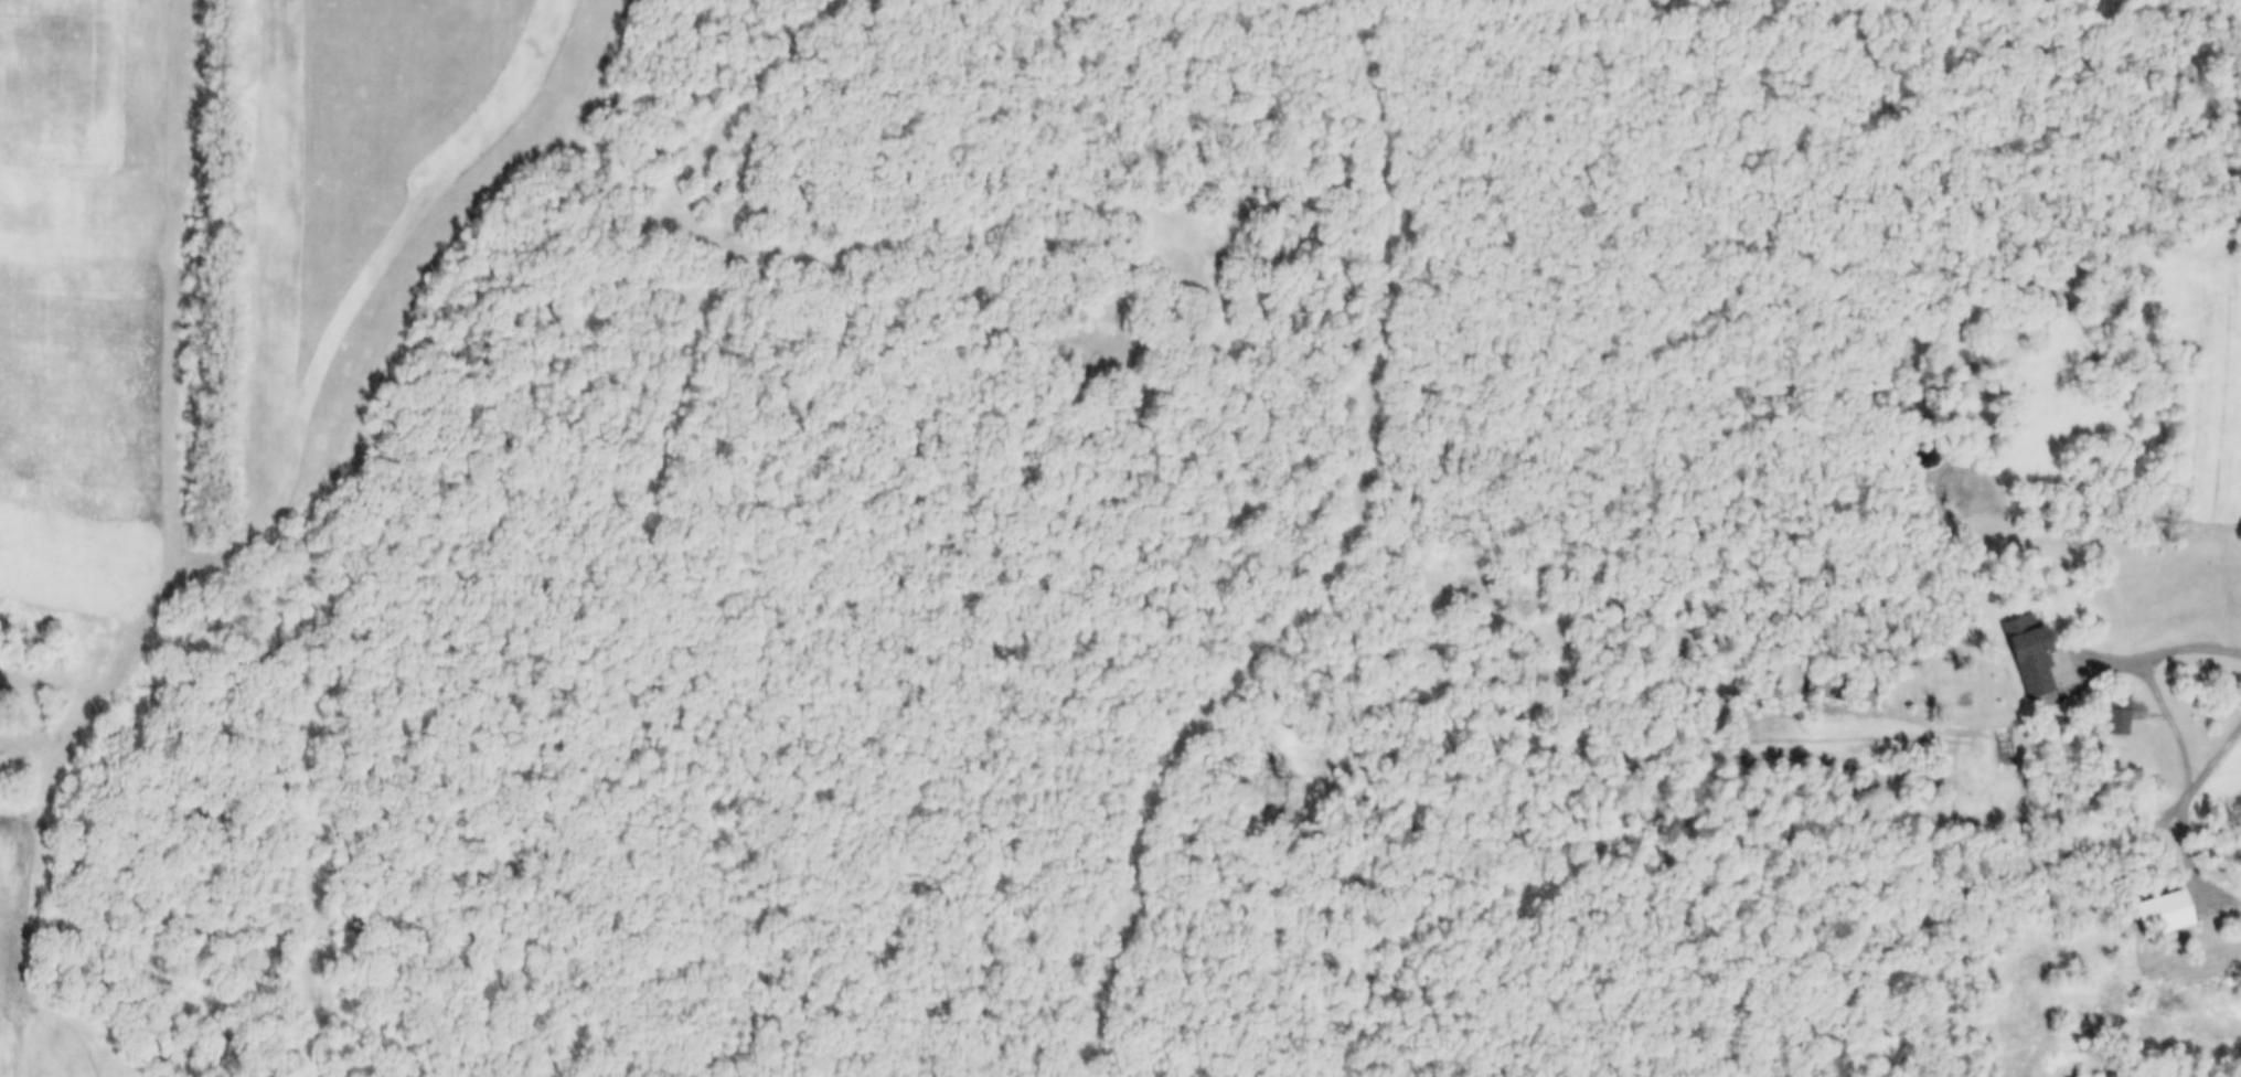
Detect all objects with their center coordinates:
building: (1844, 691)
building: (1950, 696)
building: (2119, 715)
road: (2203, 776)
building: (2148, 987)

